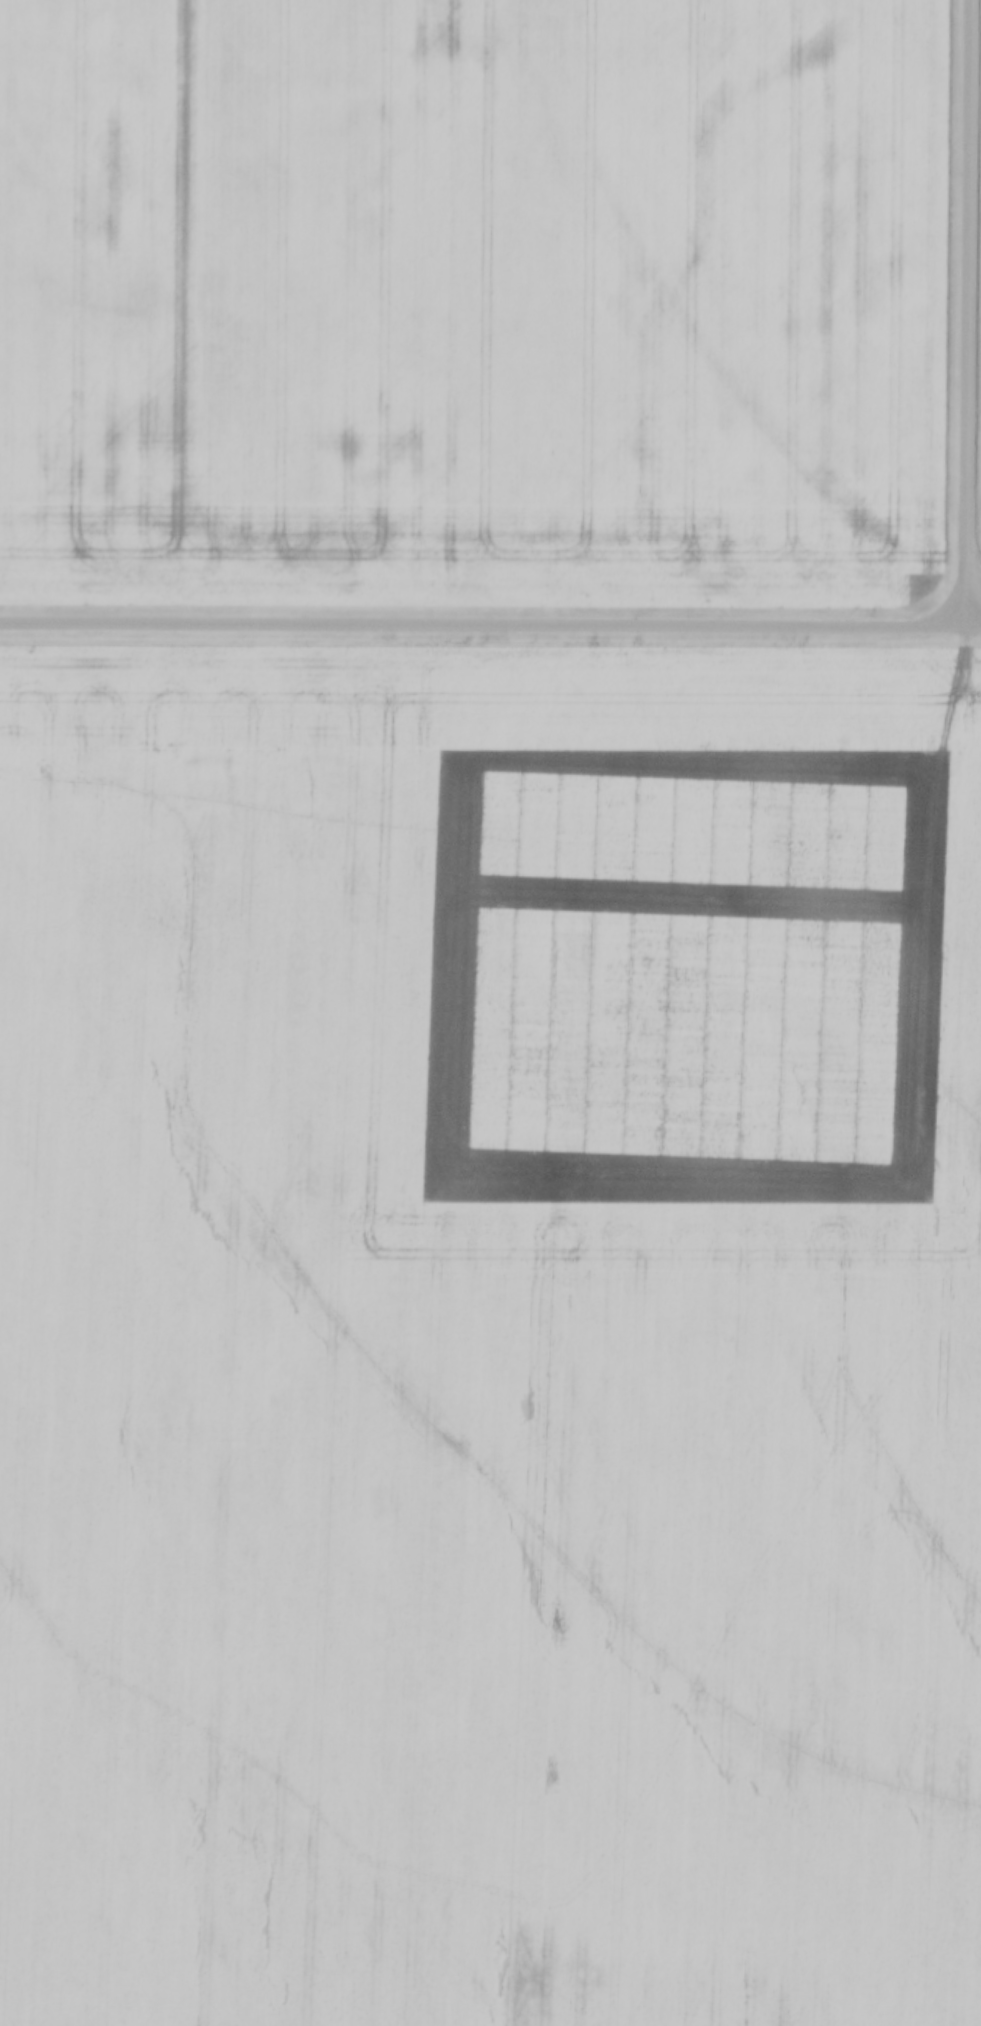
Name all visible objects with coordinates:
road: (951, 313)
road: (490, 624)

